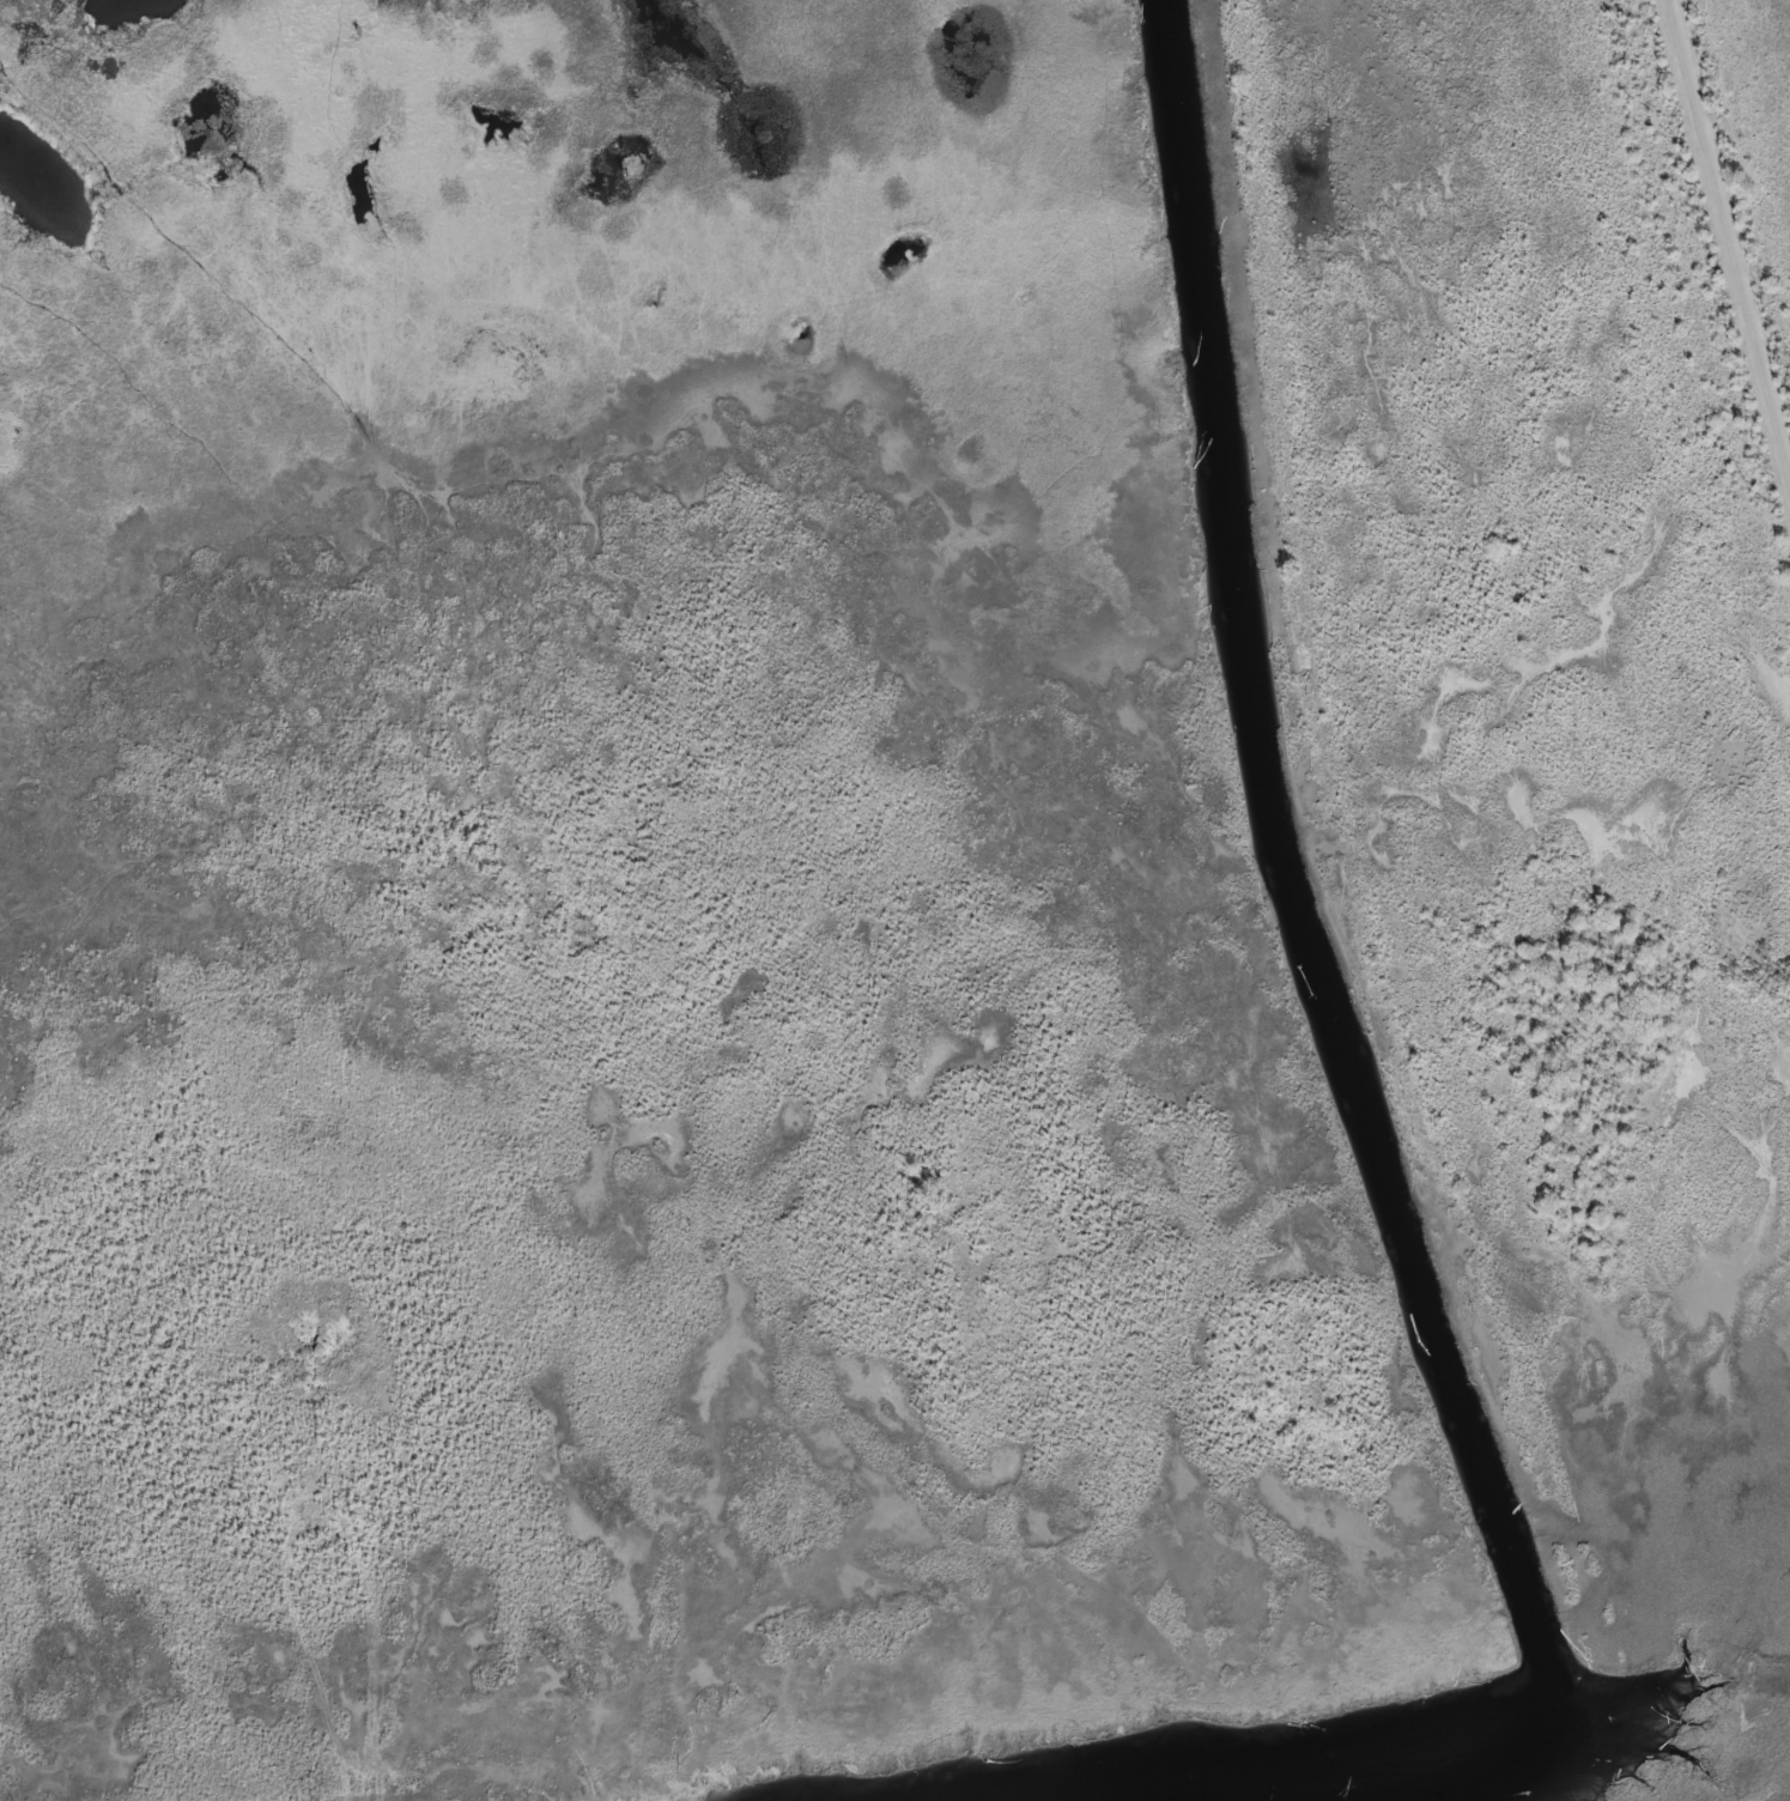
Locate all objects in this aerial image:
road: (1729, 236)

